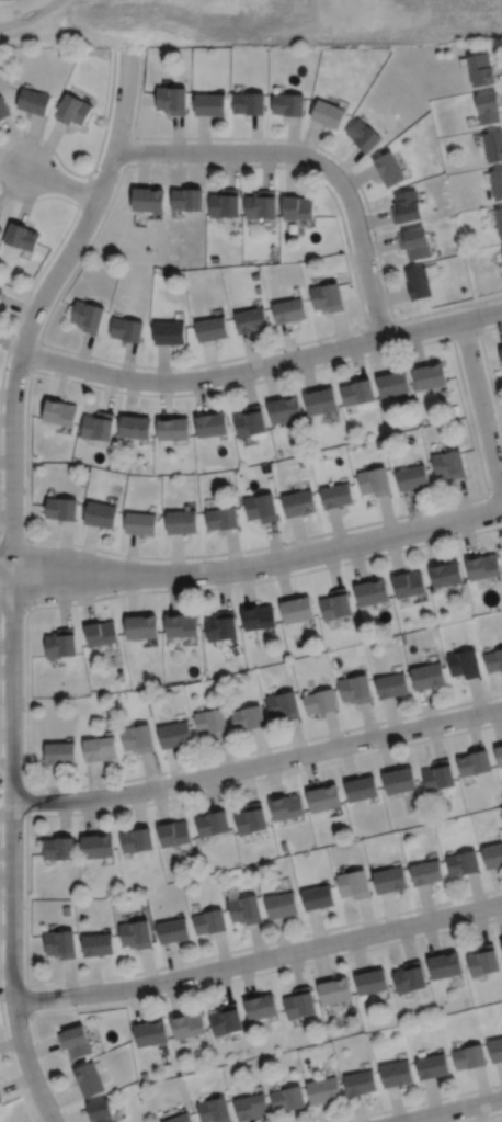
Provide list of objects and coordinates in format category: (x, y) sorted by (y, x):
crop: (251, 22)
building: (480, 69)
building: (171, 100)
building: (33, 101)
building: (249, 103)
building: (209, 104)
building: (287, 104)
building: (488, 107)
building: (3, 109)
building: (71, 110)
building: (327, 114)
building: (362, 135)
building: (493, 146)
road: (312, 159)
building: (388, 169)
road: (61, 182)
building: (497, 183)
building: (147, 200)
building: (186, 200)
building: (224, 203)
building: (261, 205)
building: (406, 207)
building: (297, 208)
building: (499, 220)
building: (0, 228)
building: (20, 237)
building: (414, 243)
building: (418, 283)
building: (1, 292)
building: (327, 297)
building: (288, 311)
road: (481, 314)
building: (87, 316)
building: (251, 320)
building: (210, 329)
building: (126, 330)
building: (169, 332)
building: (501, 351)
road: (241, 370)
building: (427, 376)
building: (391, 384)
building: (357, 393)
building: (320, 401)
road: (481, 406)
building: (284, 410)
building: (58, 412)
building: (249, 421)
building: (98, 426)
building: (210, 426)
building: (134, 427)
building: (172, 429)
building: (448, 464)
building: (411, 477)
building: (374, 481)
building: (335, 496)
building: (298, 503)
building: (261, 507)
building: (60, 508)
building: (100, 513)
building: (220, 518)
building: (181, 521)
building: (140, 522)
road: (260, 564)
building: (482, 566)
road: (7, 569)
building: (445, 574)
road: (7, 577)
road: (13, 578)
building: (408, 583)
building: (370, 592)
building: (335, 604)
building: (296, 610)
building: (258, 616)
building: (180, 625)
building: (221, 625)
building: (140, 626)
building: (101, 633)
building: (60, 643)
building: (493, 659)
building: (464, 664)
building: (426, 676)
building: (391, 684)
building: (354, 689)
building: (319, 701)
building: (283, 705)
building: (247, 717)
building: (210, 722)
building: (174, 735)
building: (137, 738)
building: (99, 749)
building: (59, 752)
building: (499, 755)
building: (475, 762)
road: (258, 763)
building: (438, 777)
building: (398, 780)
building: (361, 789)
building: (323, 797)
building: (286, 807)
building: (250, 818)
building: (212, 823)
building: (173, 834)
building: (136, 840)
building: (284, 845)
building: (98, 846)
building: (58, 848)
building: (492, 855)
building: (463, 863)
building: (425, 872)
building: (388, 880)
building: (353, 884)
building: (317, 897)
building: (281, 905)
building: (244, 909)
building: (66, 910)
building: (208, 921)
building: (172, 931)
building: (135, 934)
building: (501, 942)
building: (59, 943)
building: (96, 944)
road: (259, 959)
building: (482, 960)
building: (444, 964)
building: (409, 978)
building: (370, 982)
building: (334, 990)
building: (299, 1002)
building: (261, 1007)
building: (225, 1019)
building: (187, 1024)
building: (150, 1033)
building: (73, 1041)
building: (495, 1050)
building: (468, 1056)
building: (432, 1066)
building: (395, 1074)
building: (89, 1079)
building: (360, 1083)
building: (322, 1089)
building: (0, 1095)
building: (287, 1099)
building: (250, 1107)
building: (214, 1110)
road: (454, 1110)
building: (100, 1111)
building: (180, 1118)

